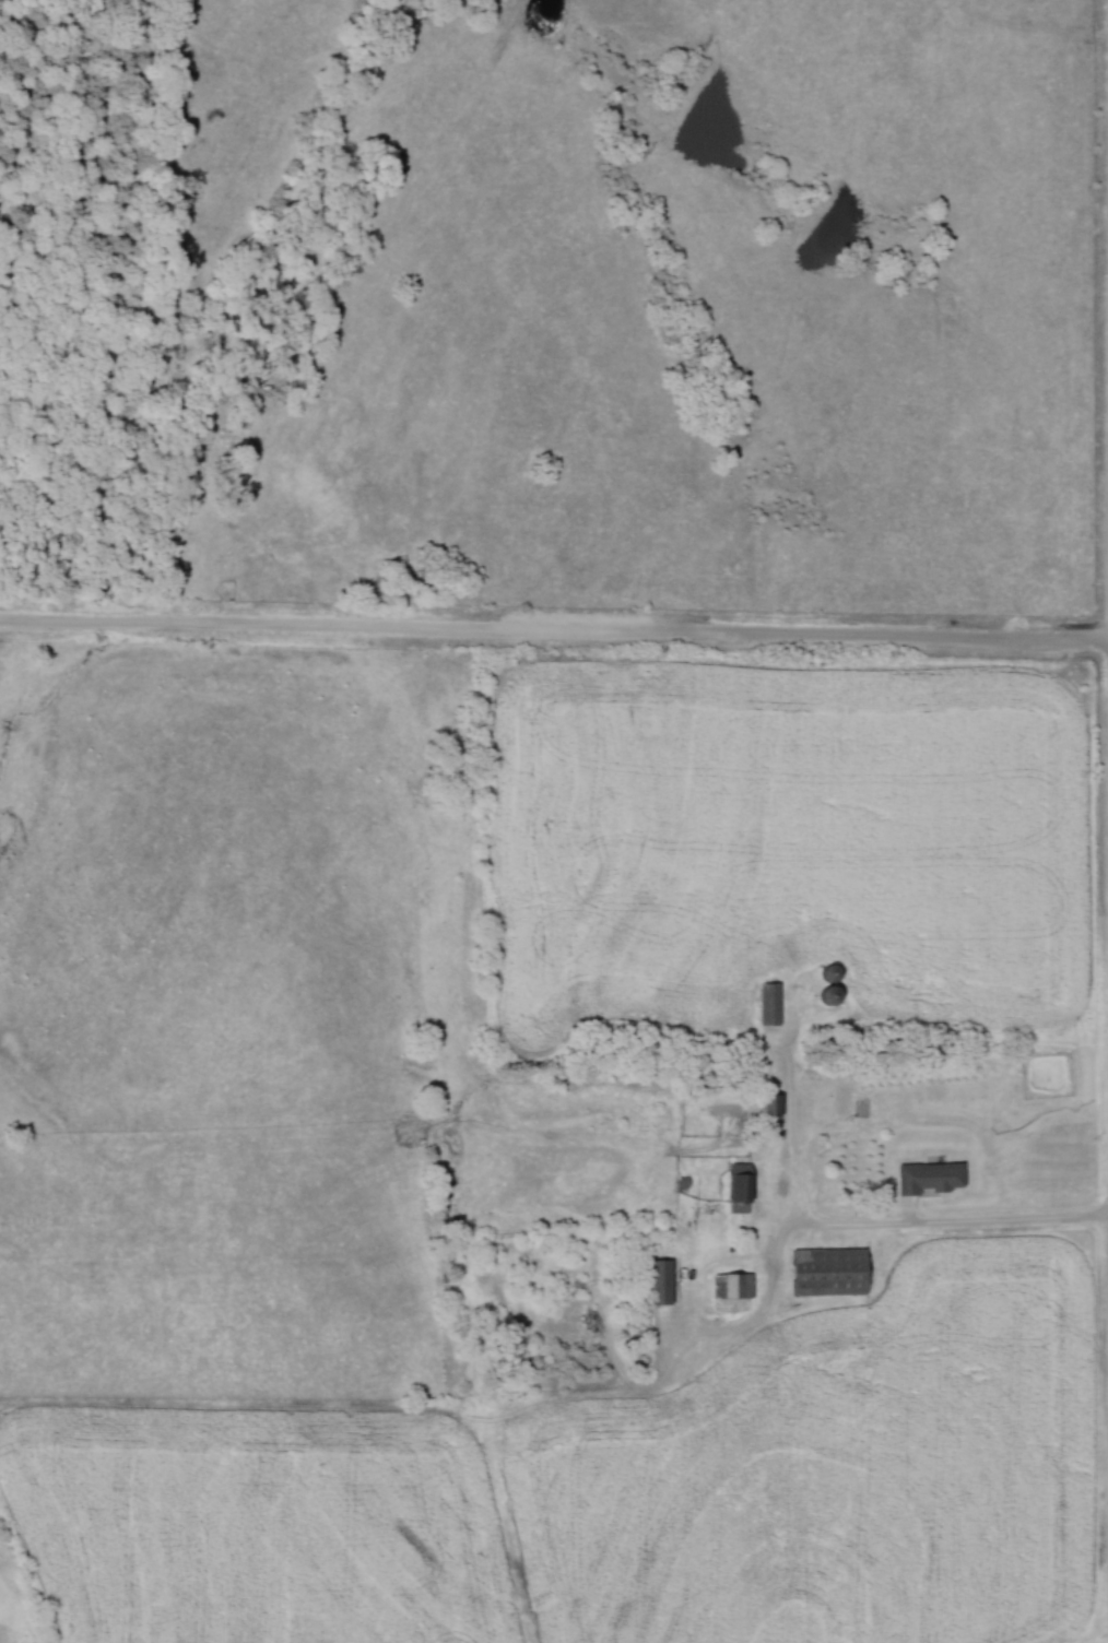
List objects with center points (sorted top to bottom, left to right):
road: (553, 634)
building: (773, 1003)
building: (775, 1103)
building: (865, 1171)
building: (934, 1177)
building: (744, 1186)
road: (957, 1226)
building: (834, 1272)
building: (664, 1280)
building: (734, 1285)

